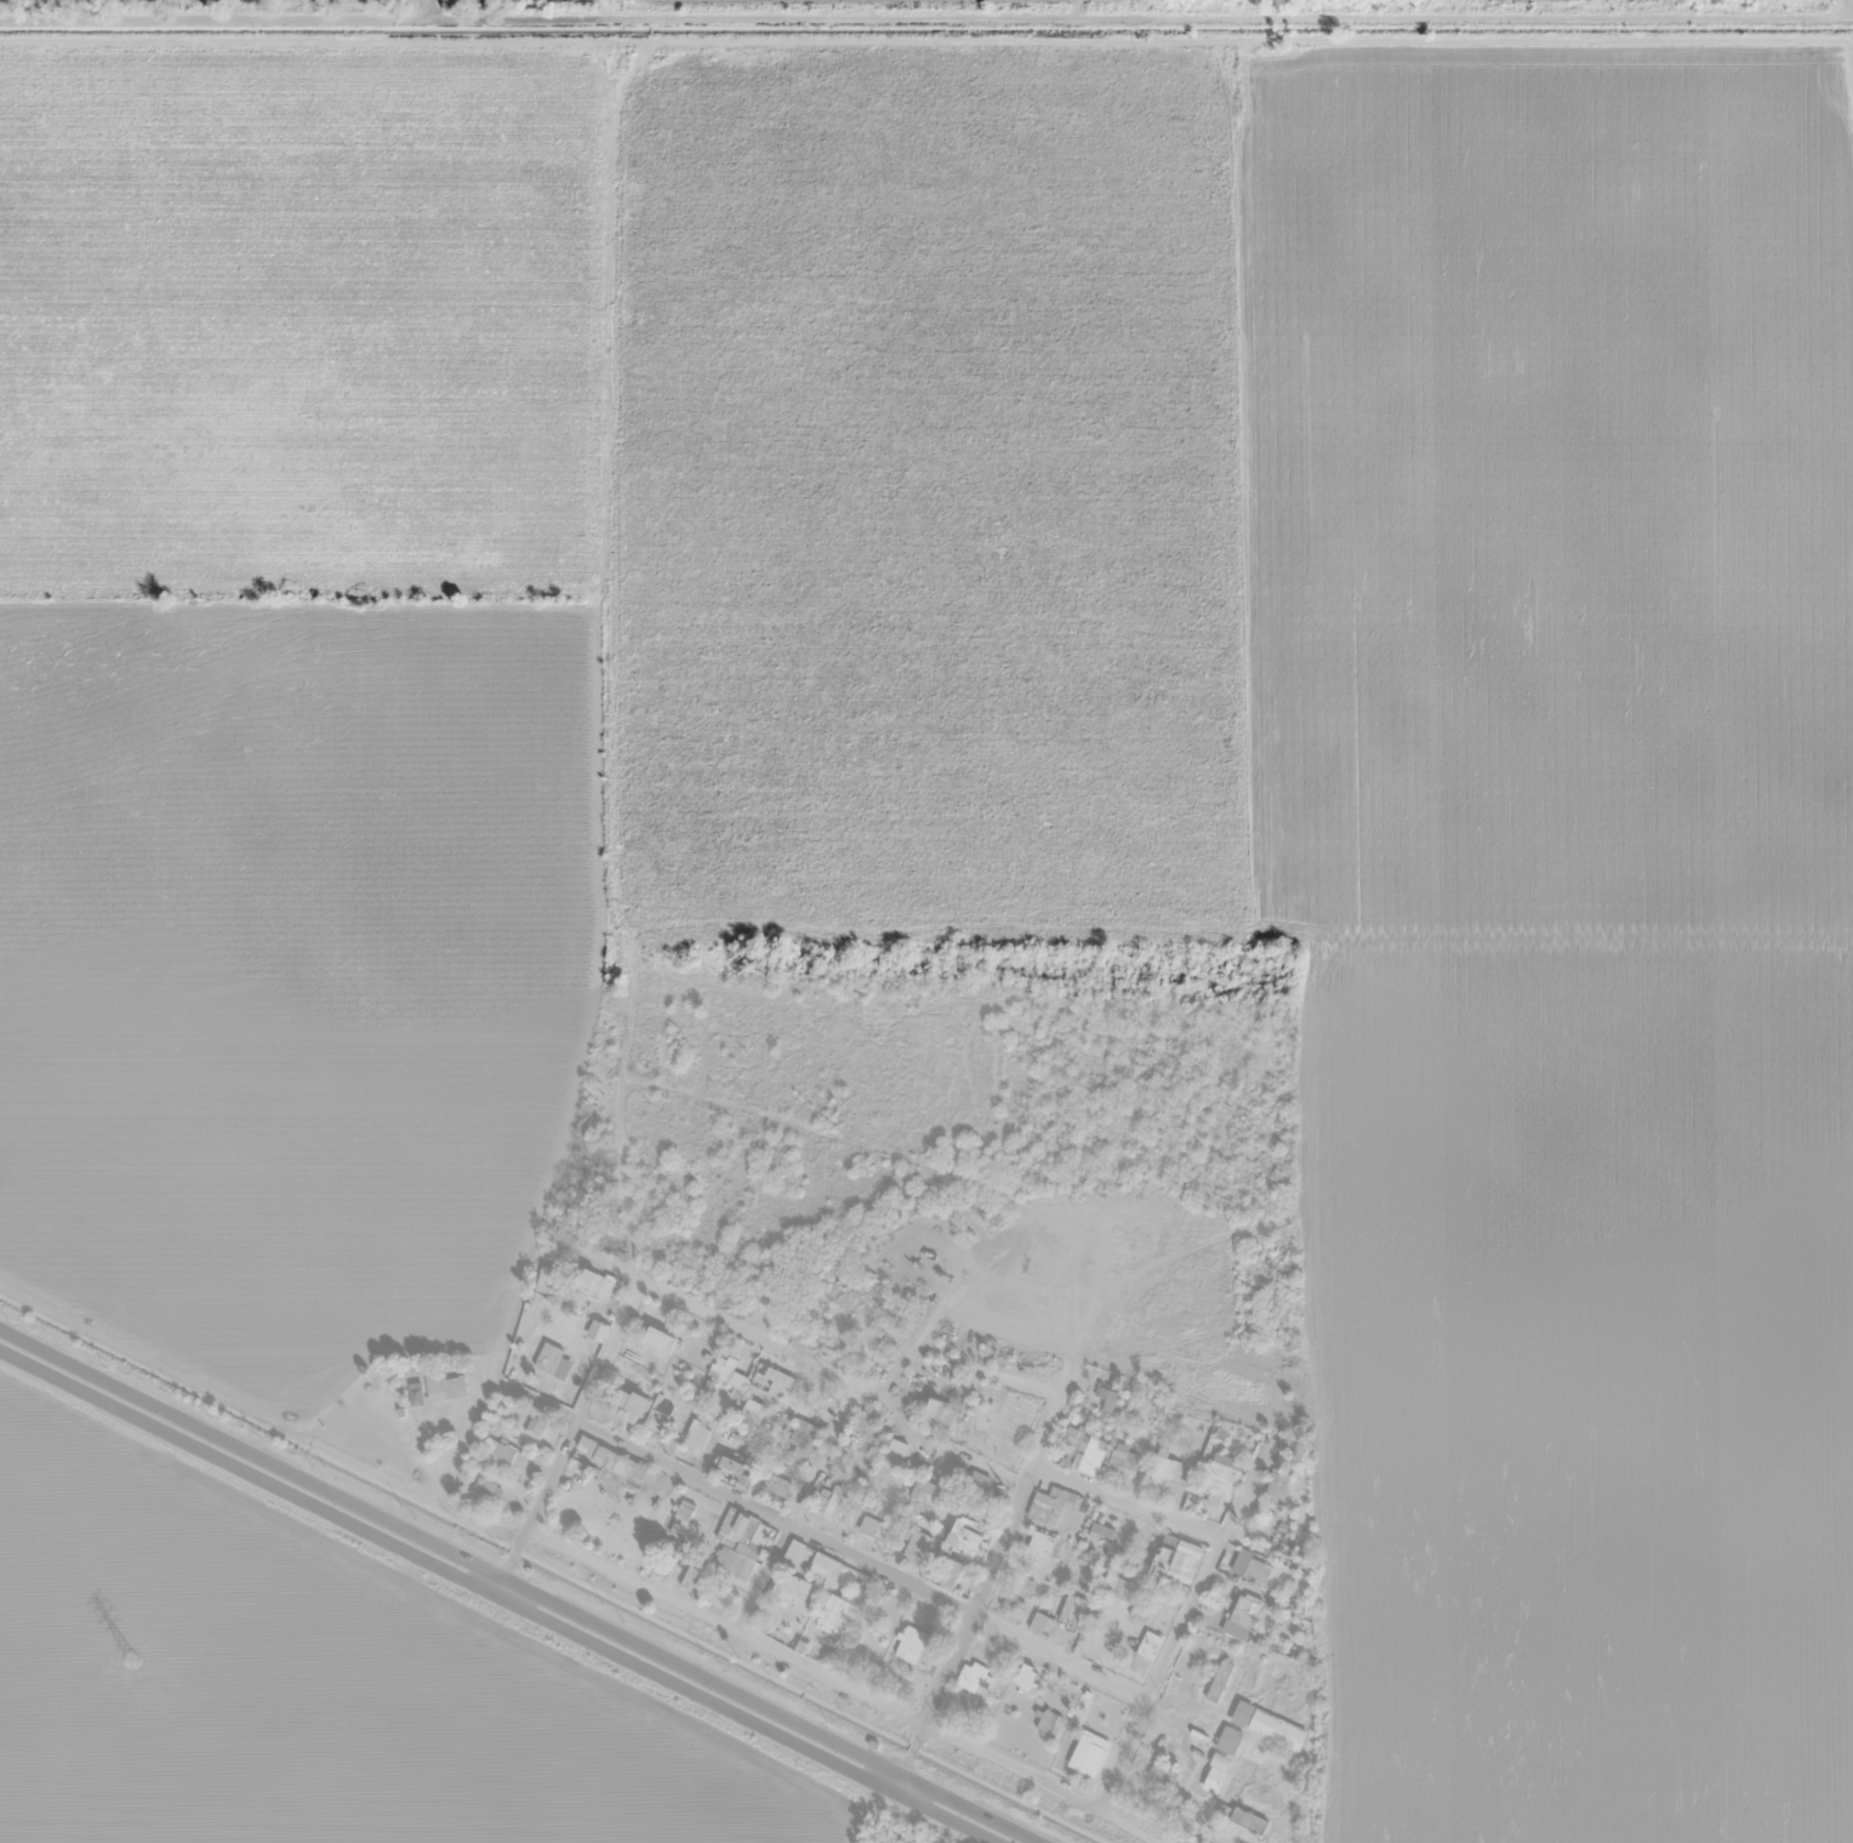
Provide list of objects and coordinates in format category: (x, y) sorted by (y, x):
power tower: (131, 1661)
power tower: (132, 1661)

